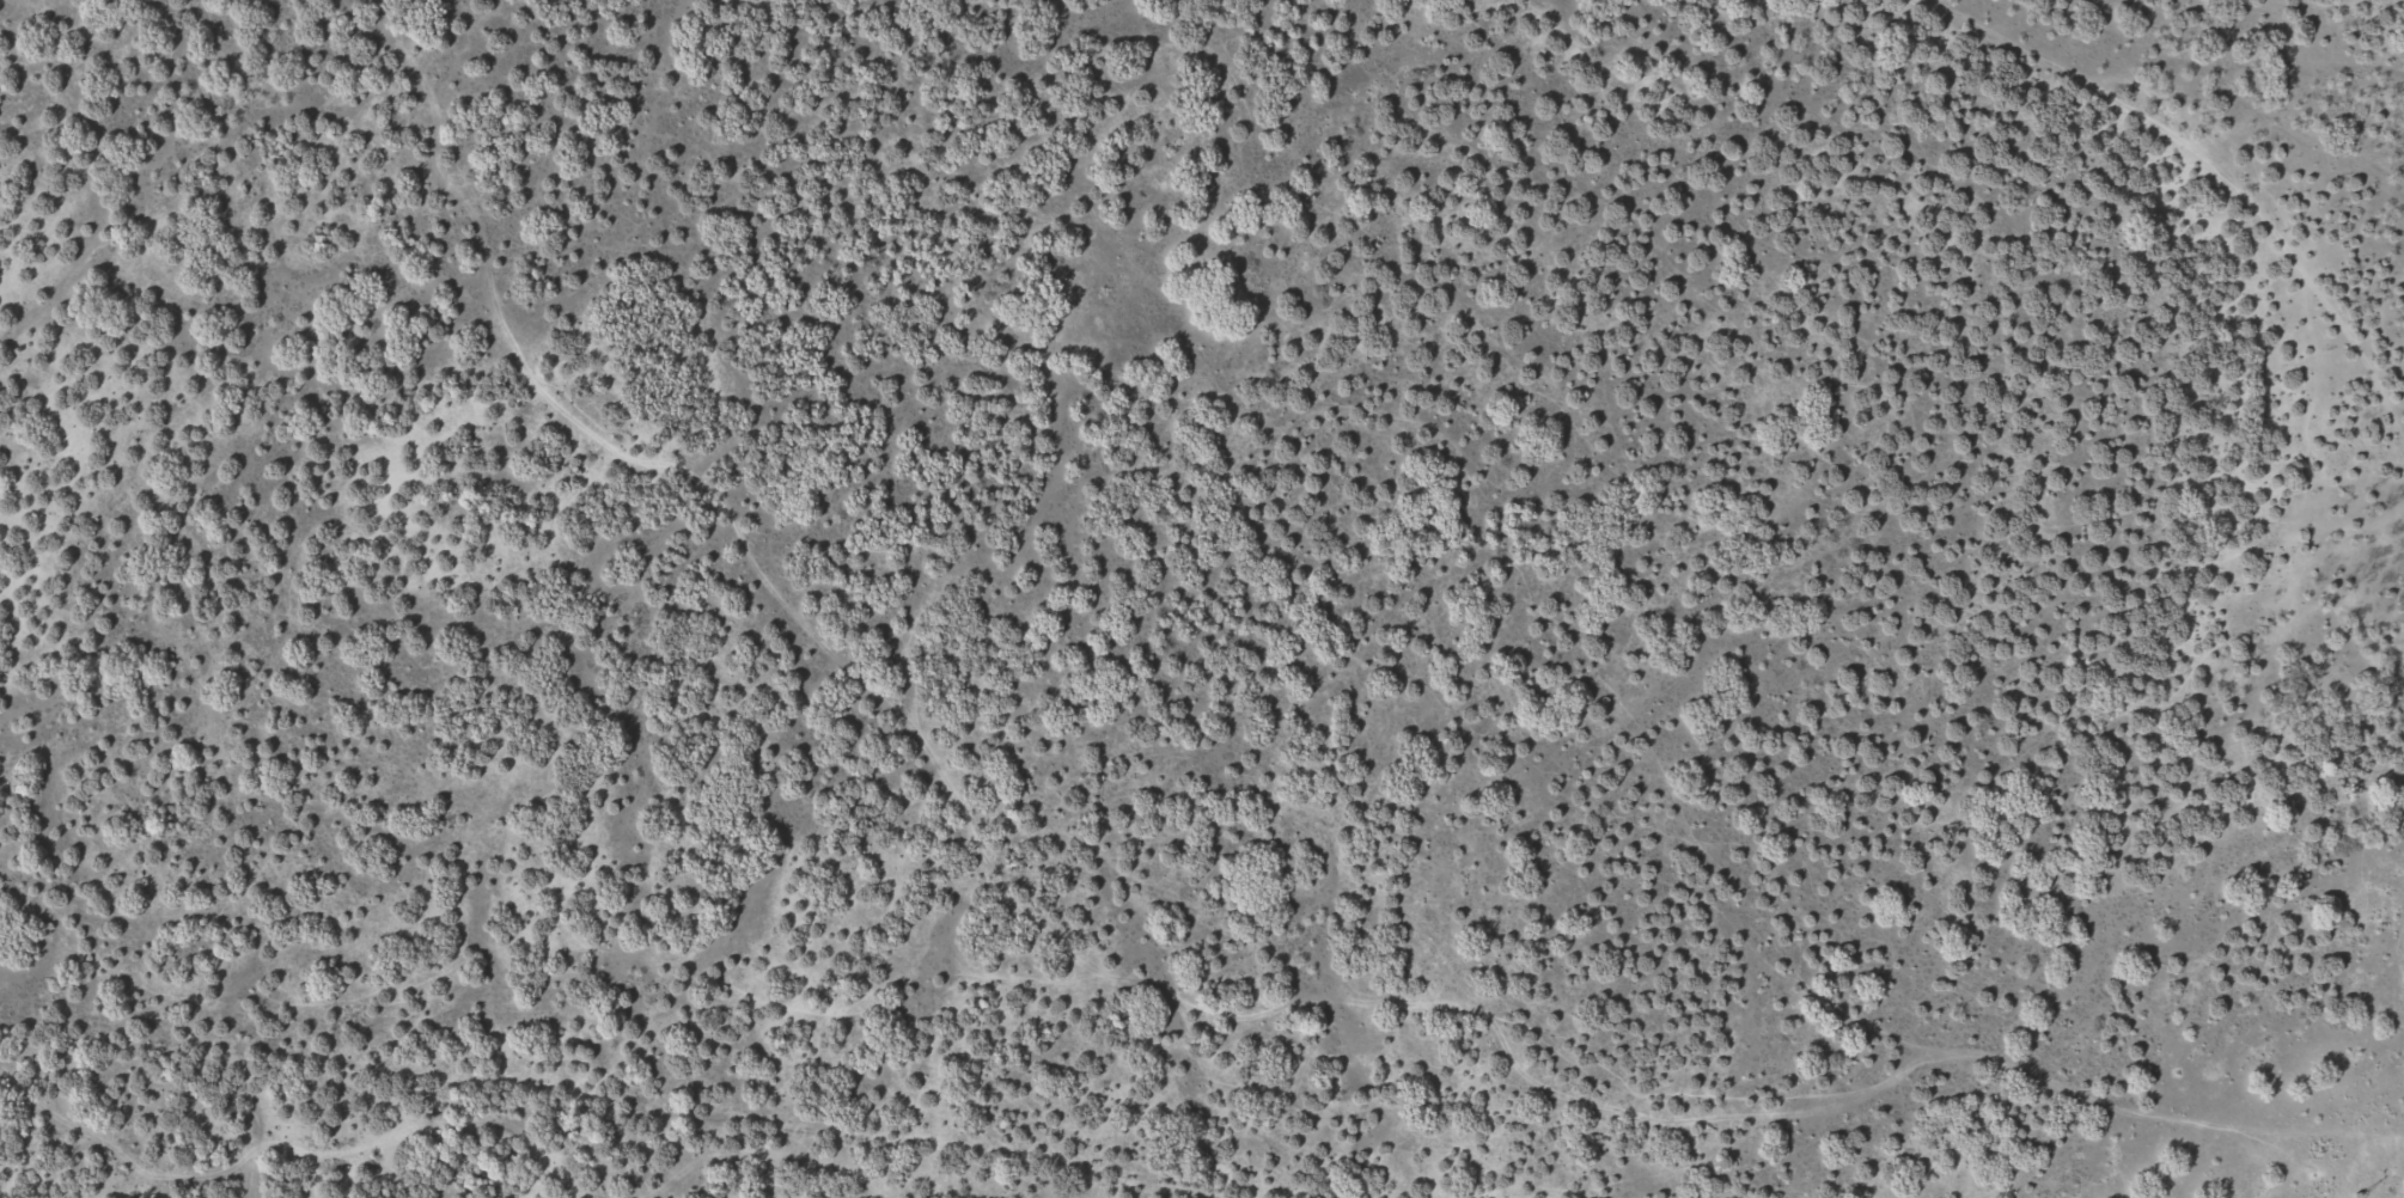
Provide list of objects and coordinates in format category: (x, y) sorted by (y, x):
road: (1115, 980)

